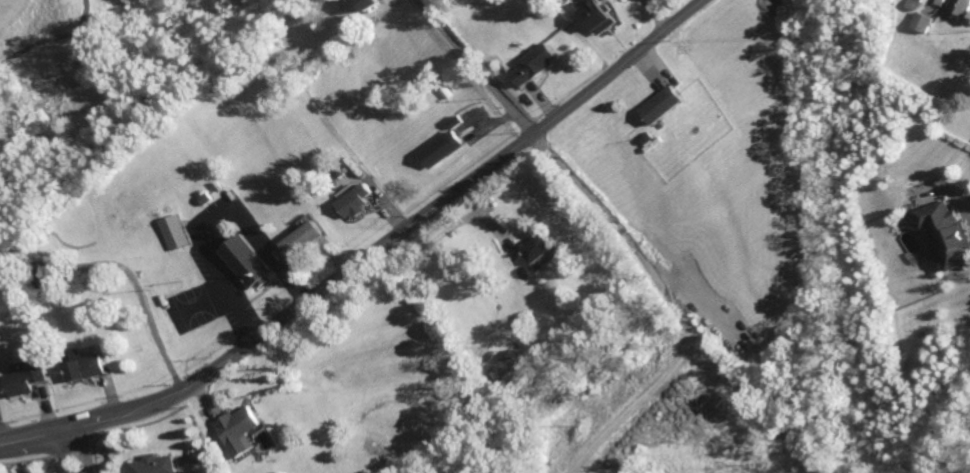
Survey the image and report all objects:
building: (371, 4)
building: (961, 8)
building: (598, 15)
building: (921, 21)
road: (51, 36)
building: (535, 63)
park: (90, 82)
building: (660, 104)
building: (456, 120)
building: (443, 149)
building: (358, 202)
road: (213, 213)
road: (961, 213)
road: (419, 220)
road: (618, 233)
building: (177, 234)
building: (943, 234)
building: (307, 238)
building: (539, 249)
building: (250, 266)
parking lot: (228, 275)
building: (44, 277)
building: (501, 364)
building: (86, 366)
building: (27, 379)
road: (89, 417)
road: (663, 425)
road: (30, 430)
building: (240, 430)
road: (63, 433)
road: (80, 454)
road: (63, 457)
road: (188, 463)
building: (154, 465)
road: (793, 466)

